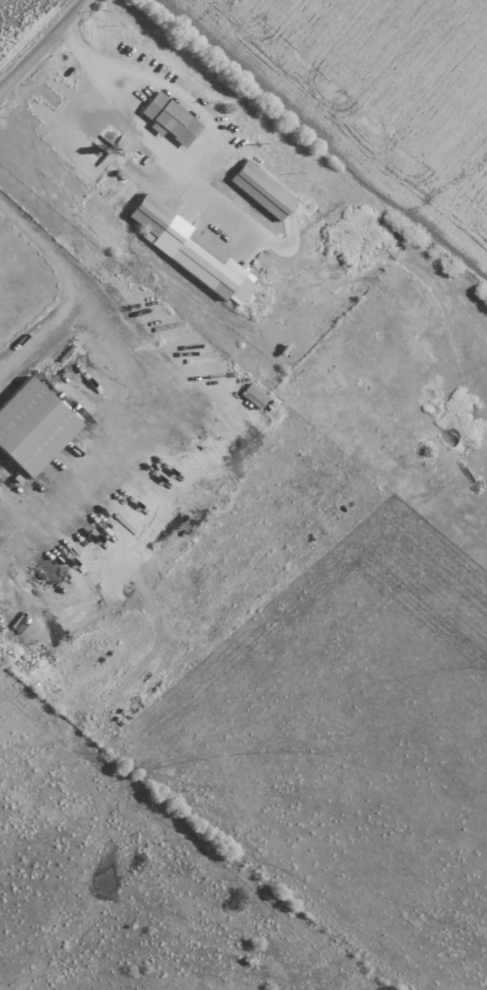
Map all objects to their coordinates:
road: (47, 48)
road: (122, 114)
building: (170, 119)
building: (262, 190)
road: (44, 250)
building: (191, 251)
road: (40, 335)
building: (254, 394)
building: (32, 426)
road: (127, 439)

